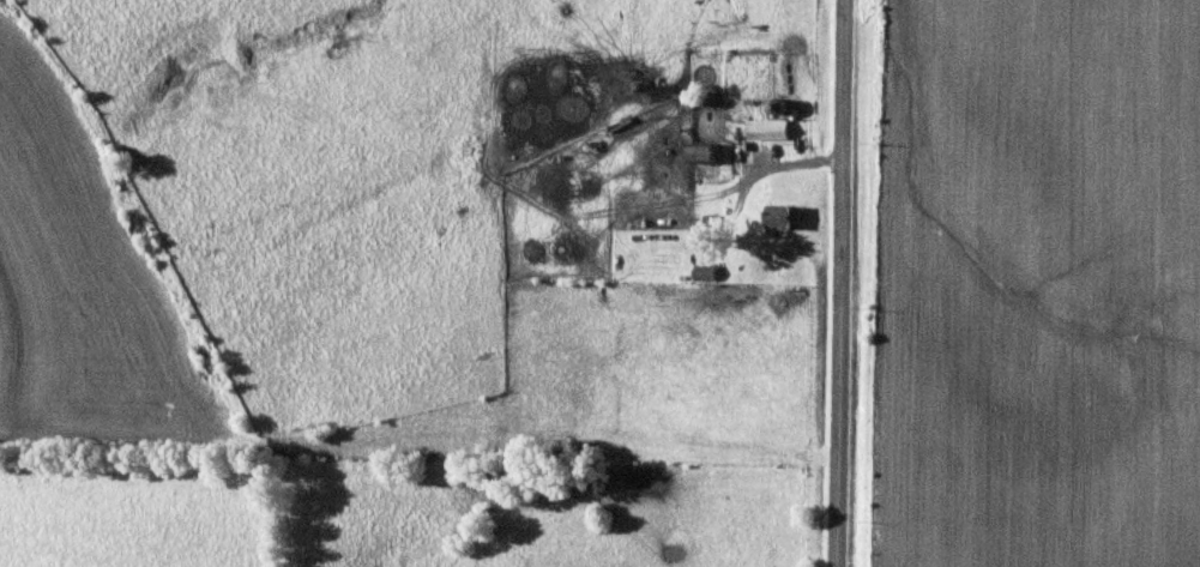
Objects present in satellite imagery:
building: (768, 128)
building: (704, 151)
building: (784, 215)
building: (705, 272)
road: (836, 283)

